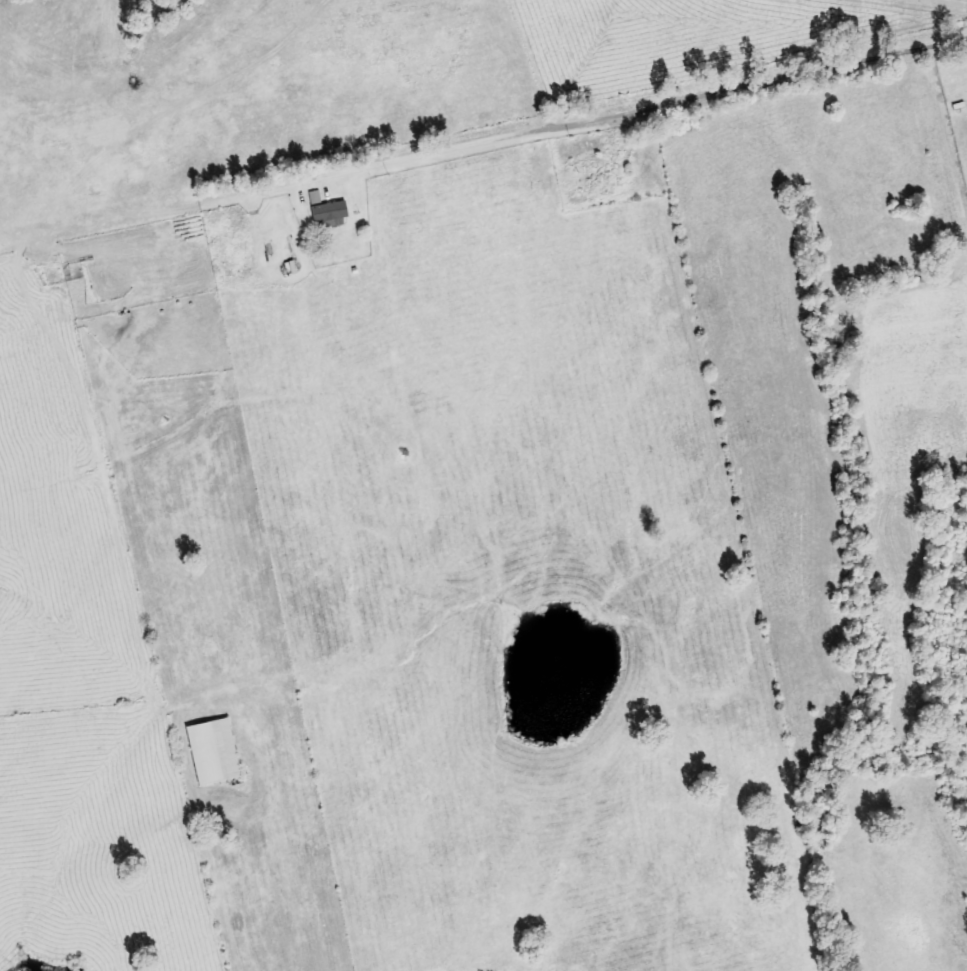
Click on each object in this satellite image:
road: (493, 135)
building: (334, 212)
building: (217, 751)

